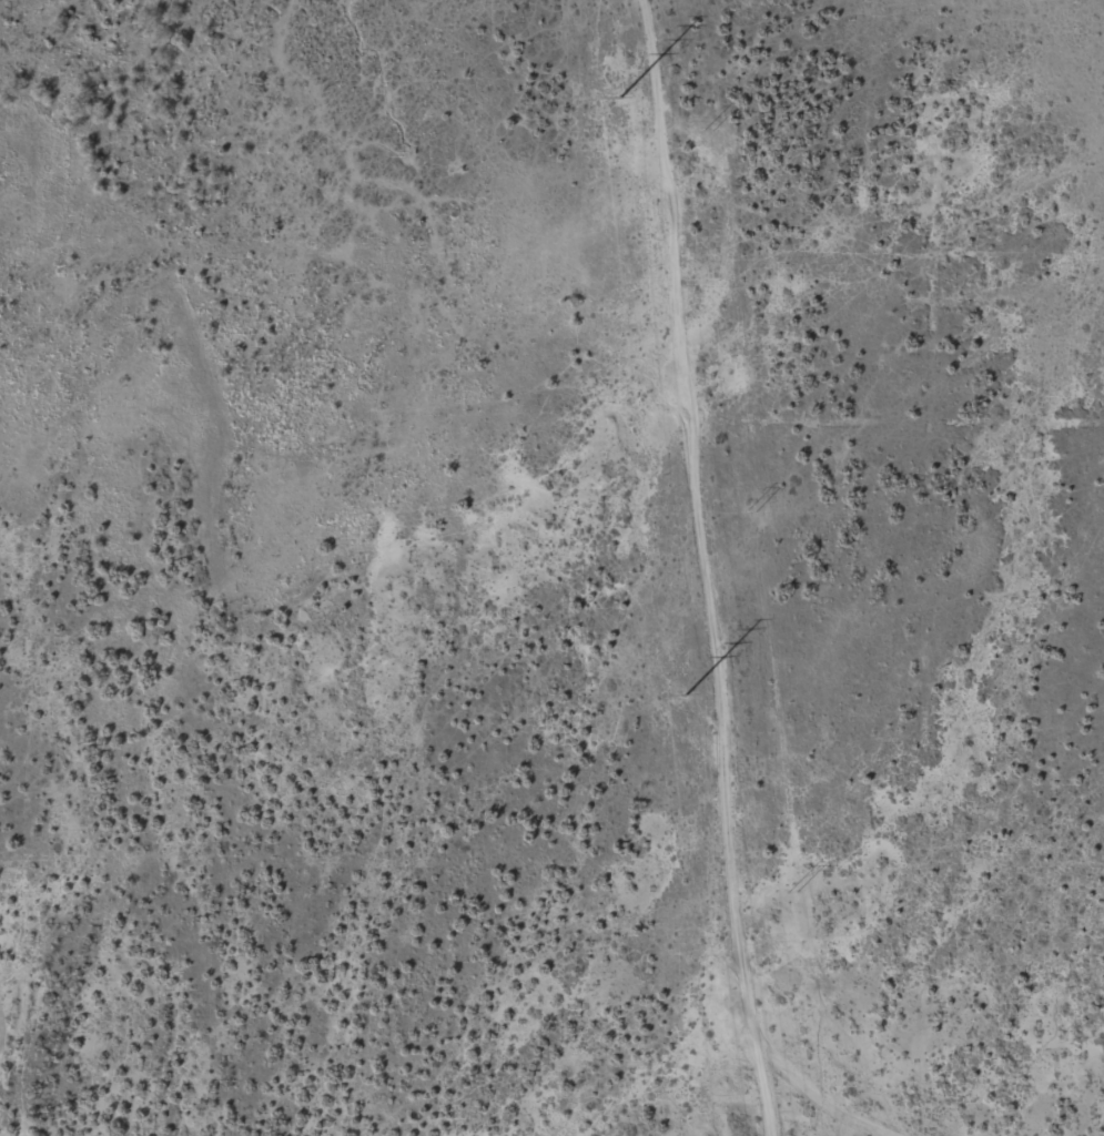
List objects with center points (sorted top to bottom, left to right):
power tower: (620, 98)
power tower: (708, 128)
power tower: (749, 507)
power tower: (686, 696)
power tower: (792, 889)

